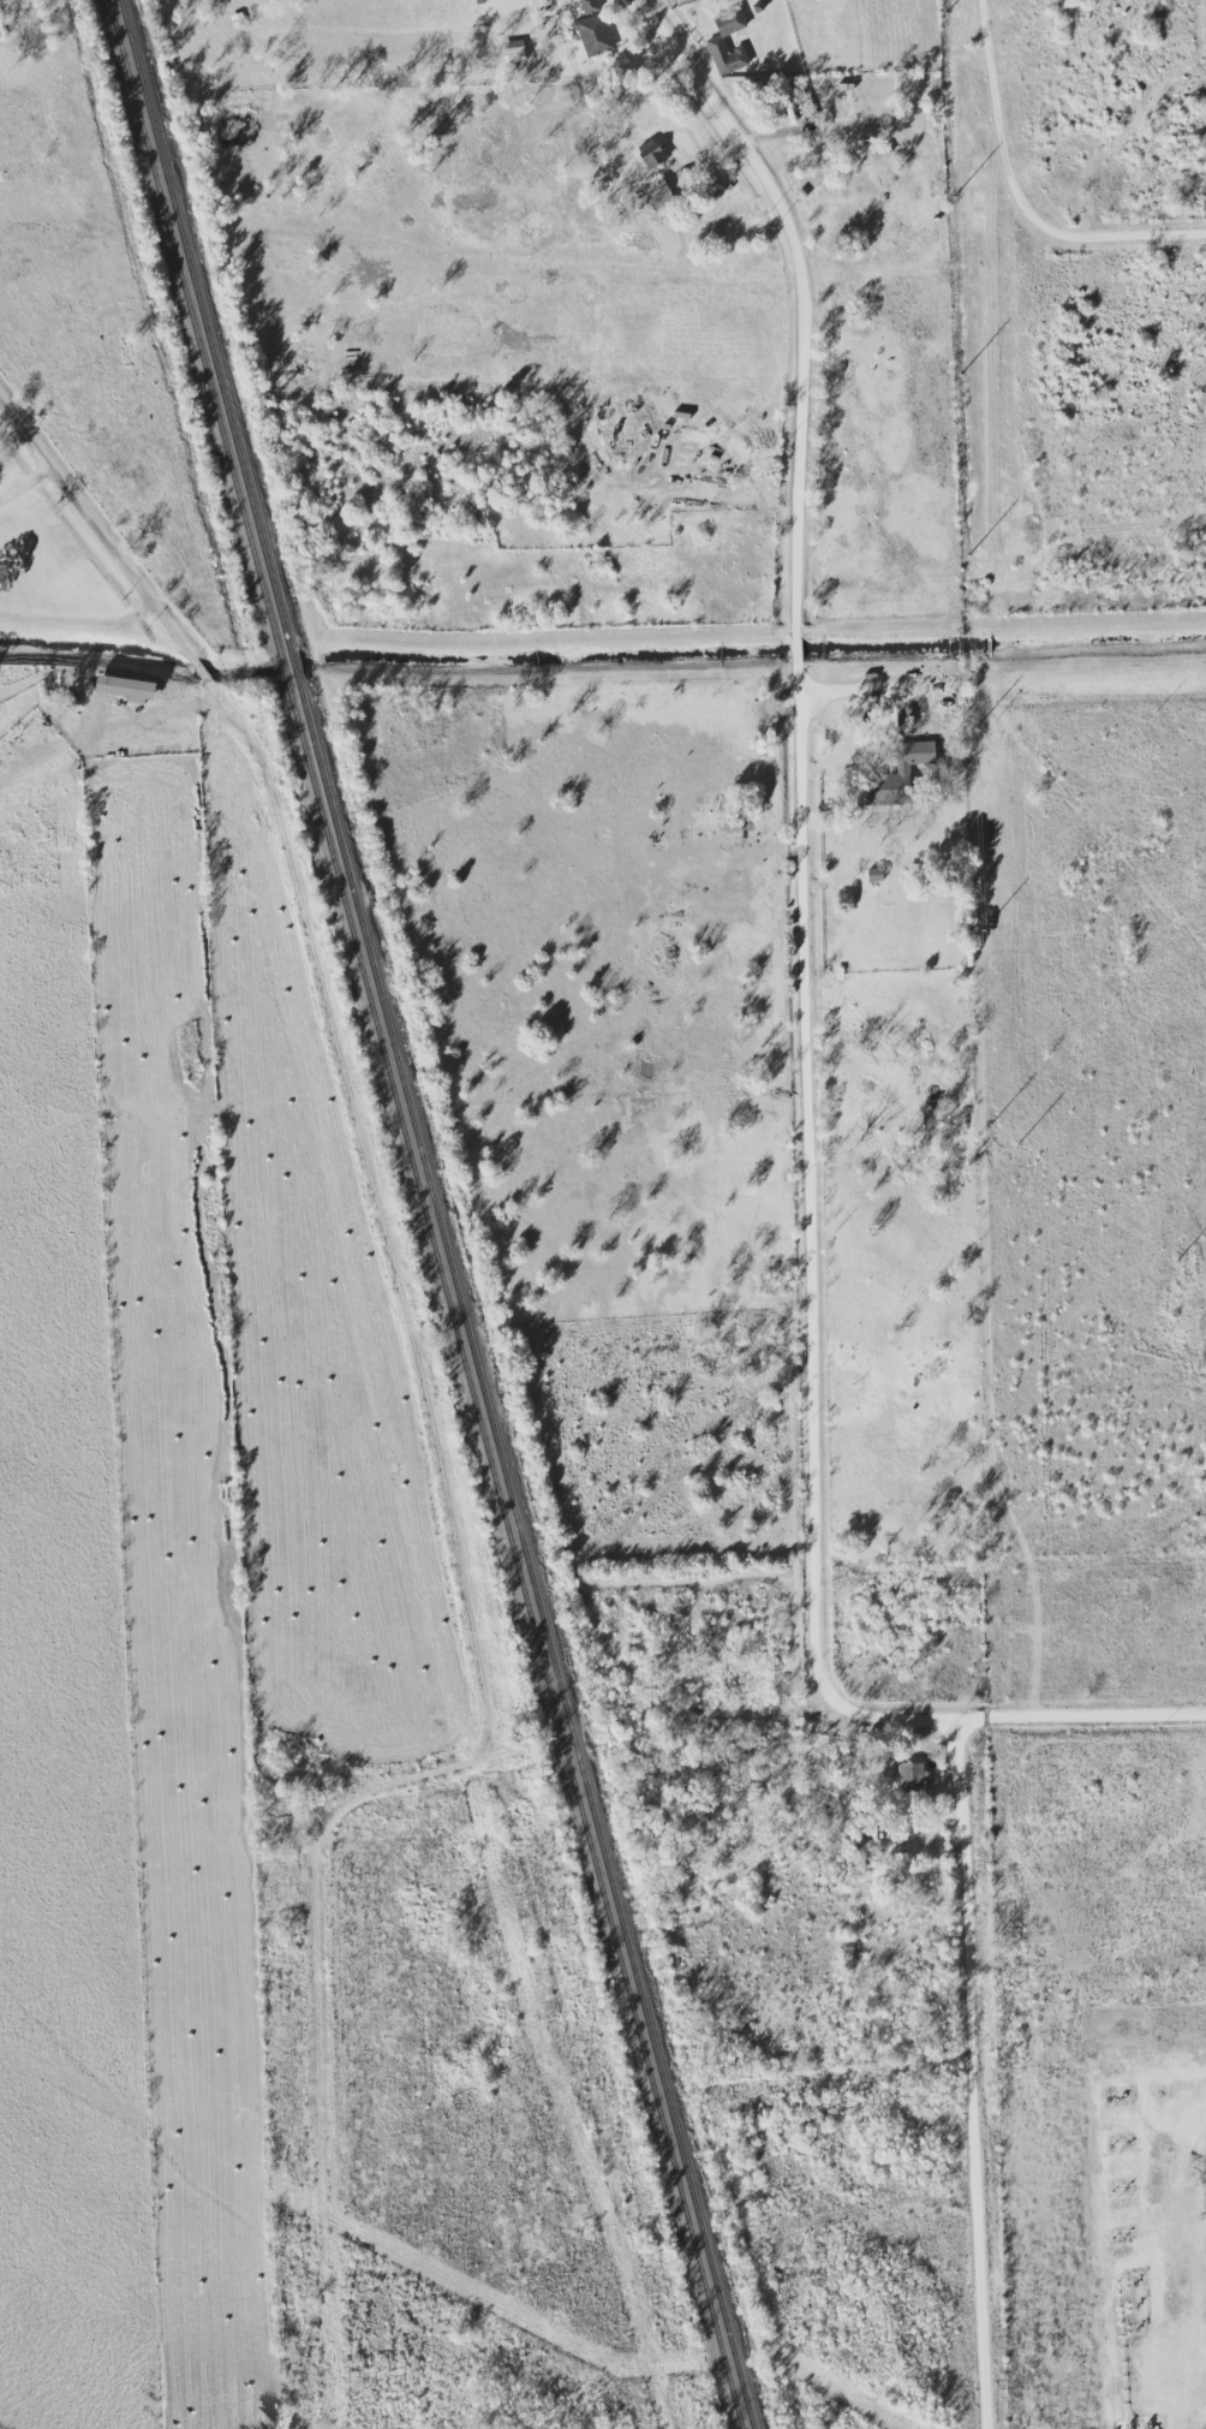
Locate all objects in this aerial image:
building: (592, 34)
building: (715, 42)
building: (513, 50)
building: (650, 153)
road: (1005, 179)
building: (657, 192)
road: (1180, 240)
road: (800, 294)
building: (572, 352)
road: (118, 558)
road: (78, 617)
road: (795, 648)
building: (126, 687)
building: (898, 773)
building: (874, 874)
road: (801, 925)
railway: (425, 1214)
railway: (436, 1214)
road: (811, 1508)
road: (1080, 1716)
building: (909, 1773)
road: (971, 2073)

